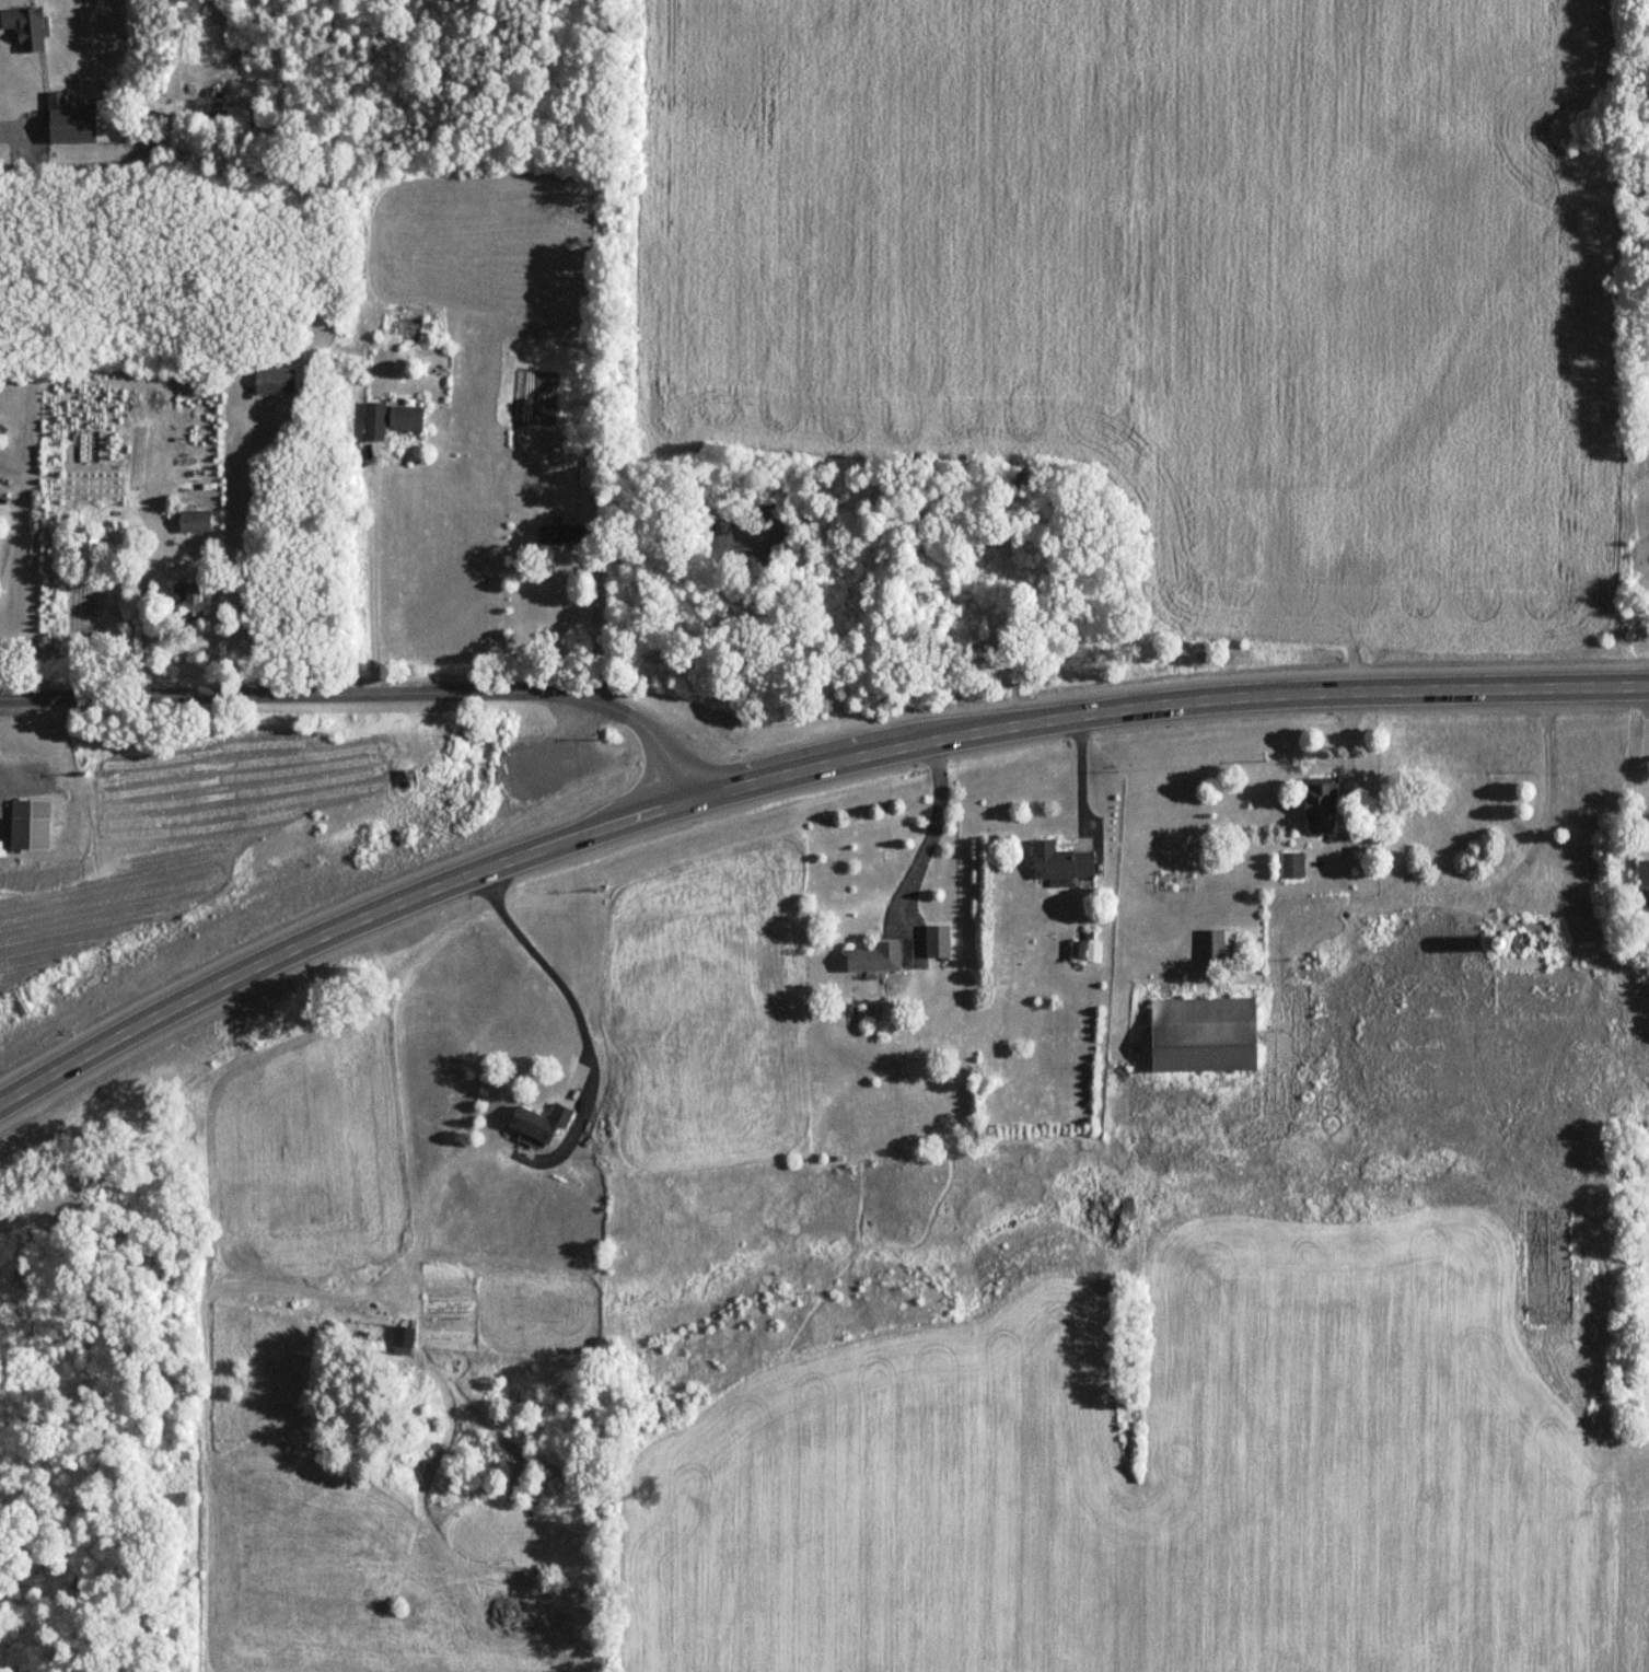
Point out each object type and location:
building: (22, 30)
building: (78, 124)
building: (272, 381)
building: (388, 419)
building: (193, 522)
building: (559, 536)
road: (5, 546)
building: (86, 547)
road: (246, 550)
road: (370, 574)
building: (188, 603)
road: (144, 623)
road: (596, 634)
road: (373, 693)
road: (1647, 742)
road: (792, 771)
road: (1080, 774)
road: (1345, 796)
building: (1317, 806)
building: (28, 824)
building: (1645, 826)
road: (932, 831)
building: (1058, 863)
building: (1290, 864)
building: (1642, 880)
road: (1479, 890)
building: (936, 941)
building: (1085, 952)
building: (873, 957)
building: (1518, 961)
road: (546, 967)
building: (1405, 967)
building: (1201, 1034)
building: (1458, 1103)
building: (537, 1122)

